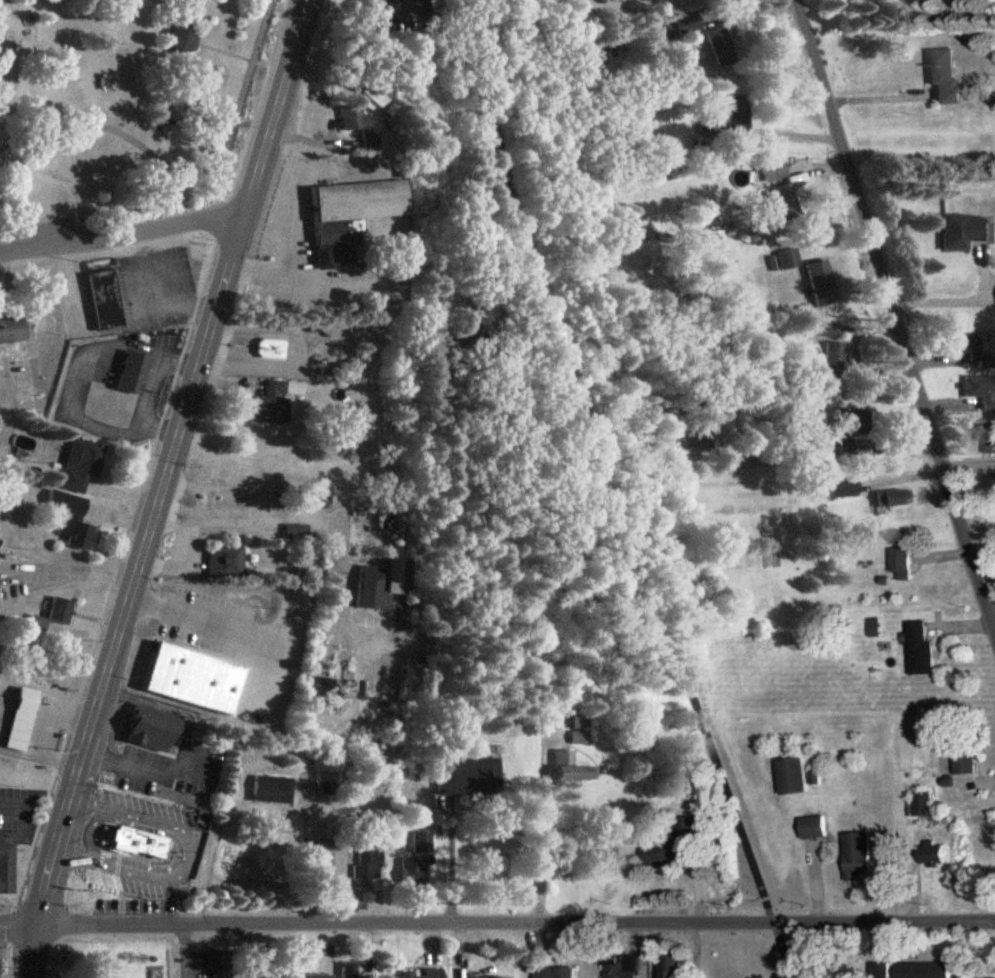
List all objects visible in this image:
building: (654, 0)
building: (688, 24)
building: (184, 39)
building: (720, 44)
building: (946, 75)
building: (375, 87)
building: (736, 114)
park: (126, 117)
building: (358, 124)
building: (775, 170)
building: (786, 203)
building: (354, 215)
building: (965, 231)
road: (120, 232)
building: (789, 260)
road: (310, 276)
building: (823, 284)
road: (957, 302)
building: (108, 311)
road: (895, 317)
building: (13, 331)
building: (966, 343)
building: (271, 349)
building: (836, 361)
building: (132, 372)
building: (981, 391)
building: (277, 402)
building: (670, 425)
building: (986, 441)
building: (265, 464)
building: (82, 465)
road: (163, 487)
building: (844, 489)
road: (615, 492)
building: (894, 499)
building: (72, 520)
building: (296, 534)
building: (226, 560)
building: (904, 564)
building: (389, 582)
building: (56, 614)
road: (198, 615)
building: (200, 649)
building: (922, 650)
building: (189, 680)
building: (22, 719)
building: (153, 729)
building: (581, 738)
building: (968, 763)
building: (574, 769)
building: (468, 777)
building: (794, 777)
building: (310, 784)
building: (272, 790)
building: (924, 804)
building: (985, 827)
building: (815, 828)
building: (142, 841)
building: (669, 849)
road: (185, 855)
building: (935, 856)
building: (861, 857)
building: (324, 859)
building: (369, 861)
building: (418, 864)
building: (7, 868)
road: (516, 923)
road: (19, 928)
road: (187, 951)
building: (218, 964)
building: (624, 965)
building: (675, 966)
building: (351, 970)
building: (884, 970)
building: (927, 971)
building: (559, 973)
building: (279, 974)
building: (427, 974)
building: (315, 977)
building: (509, 977)

